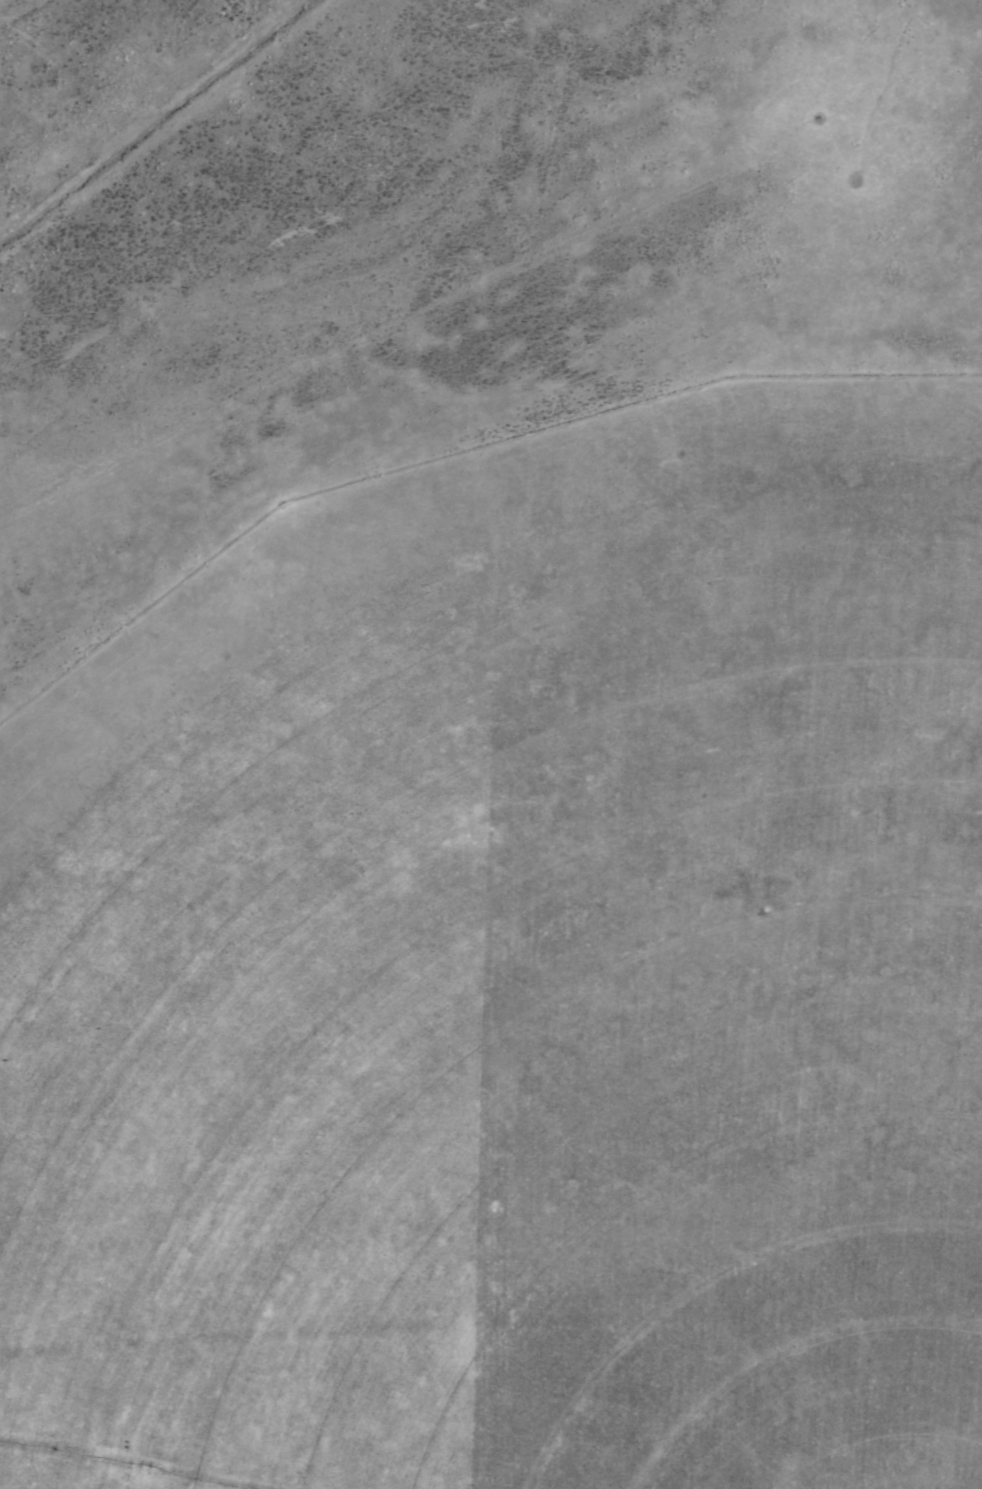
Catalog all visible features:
crop: (491, 744)

